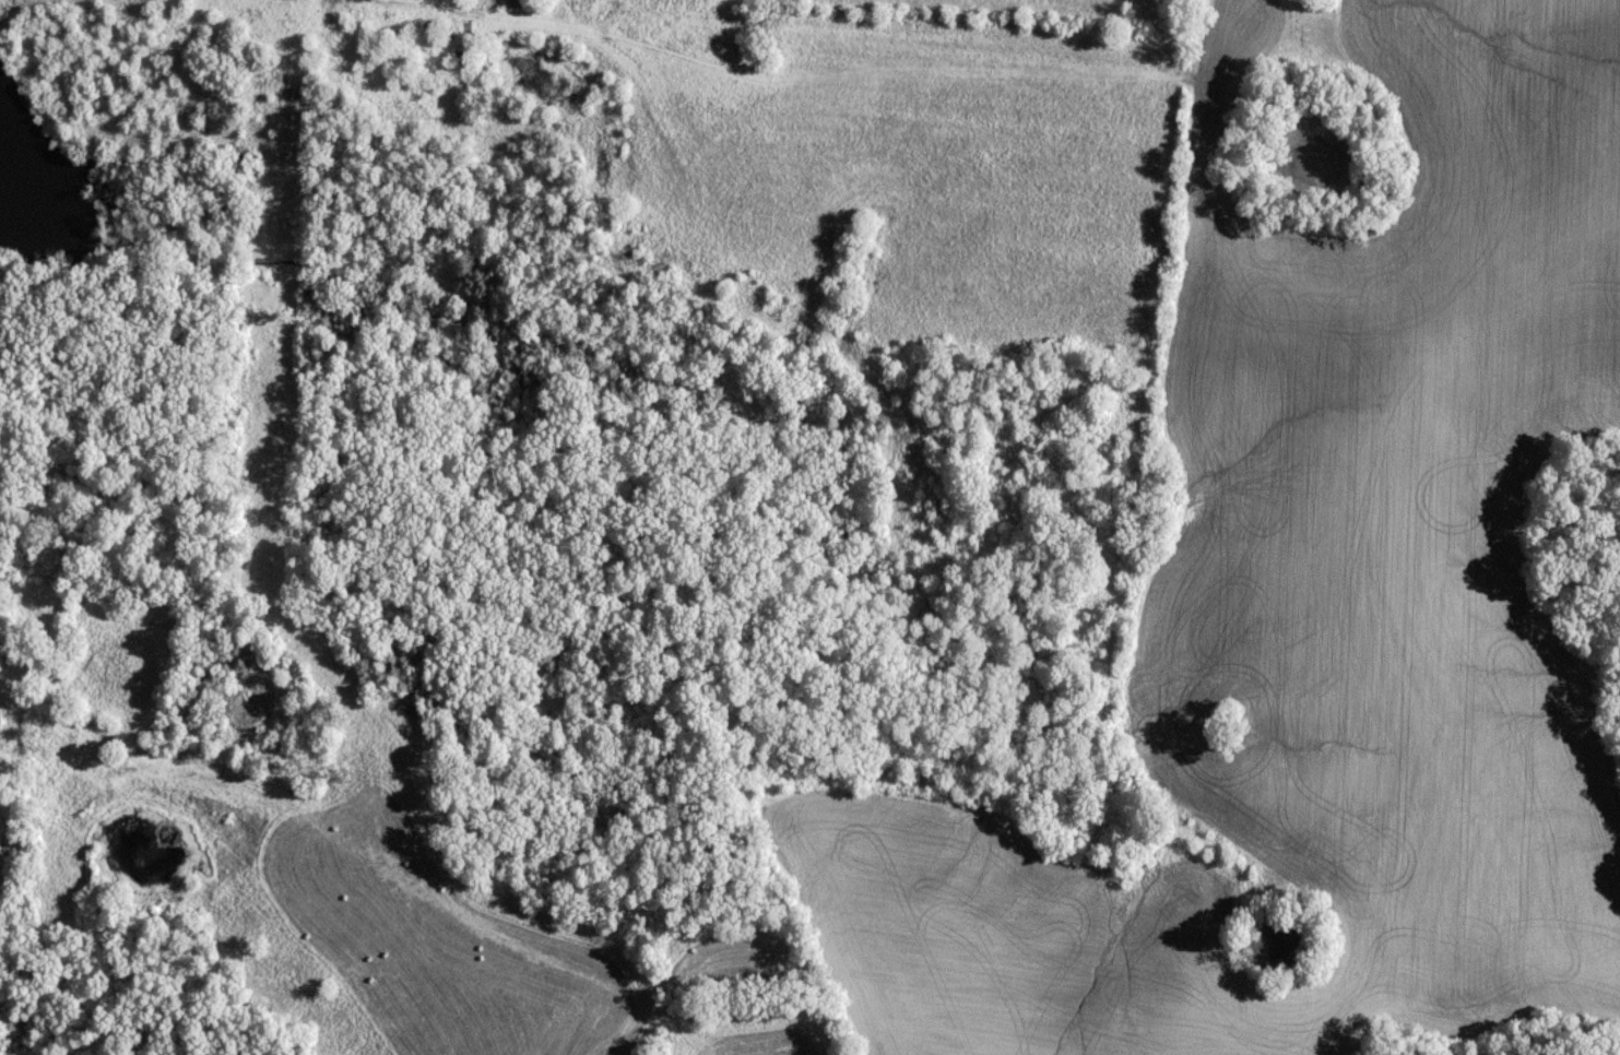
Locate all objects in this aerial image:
road: (115, 740)

